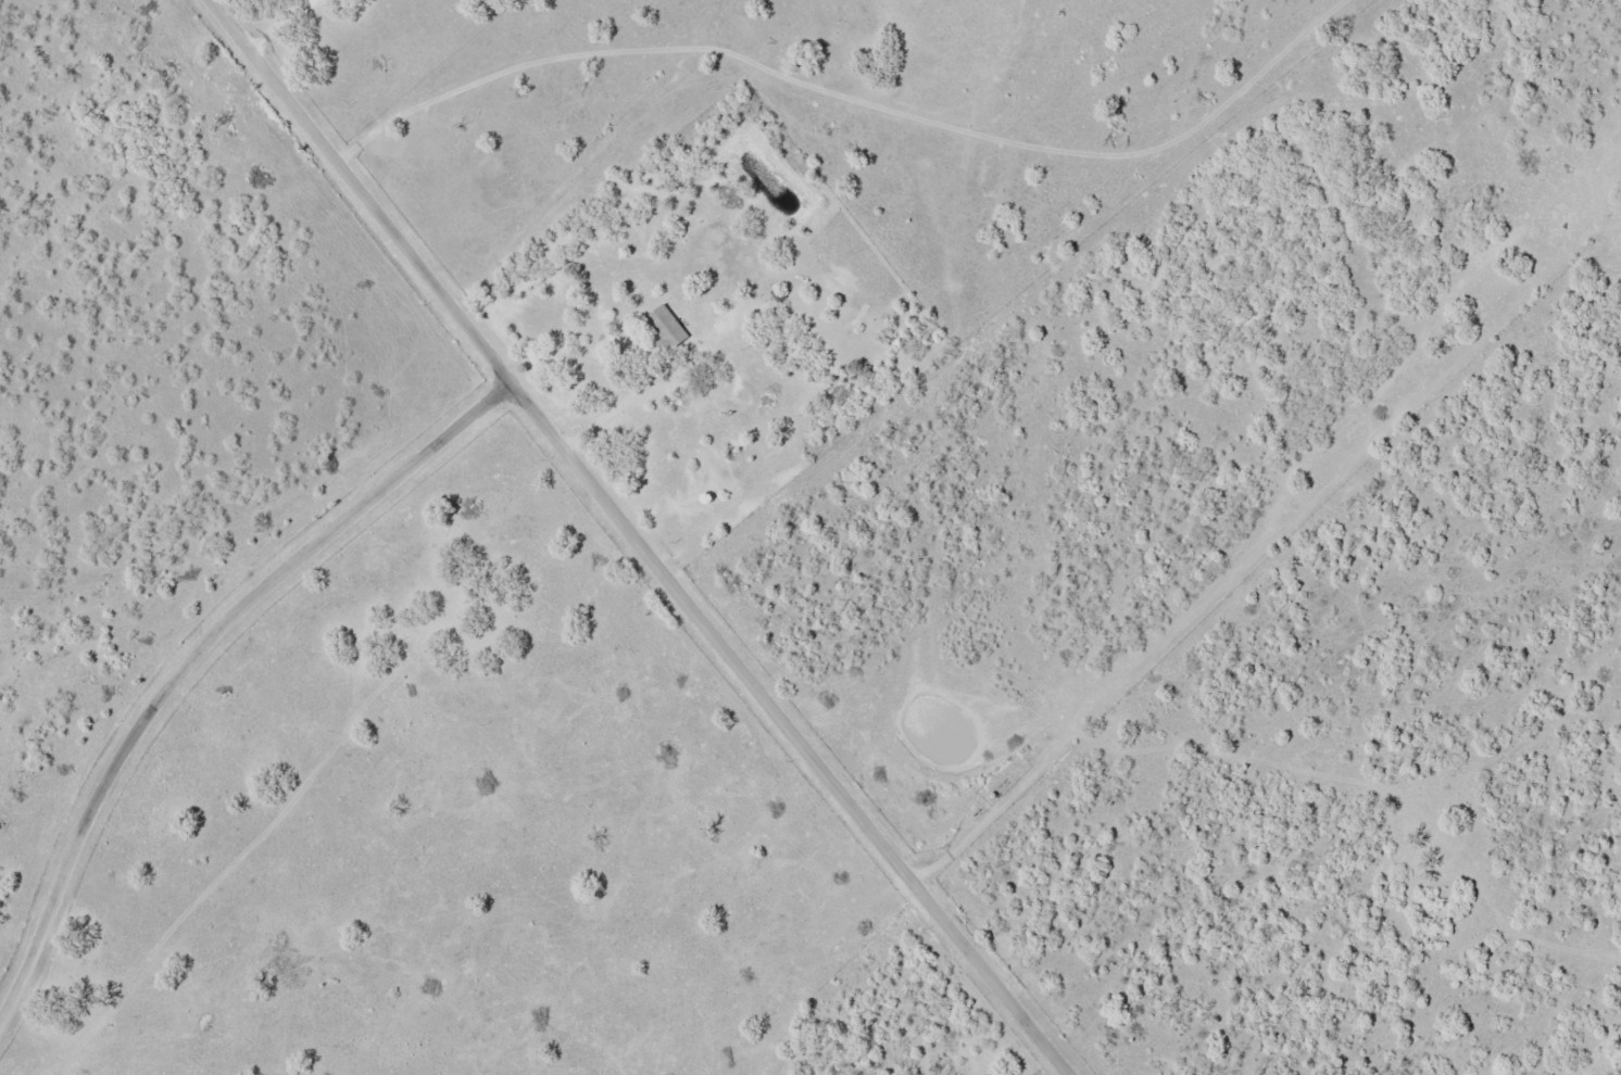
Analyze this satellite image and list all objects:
road: (288, 23)
building: (670, 330)
road: (640, 541)
road: (196, 659)

